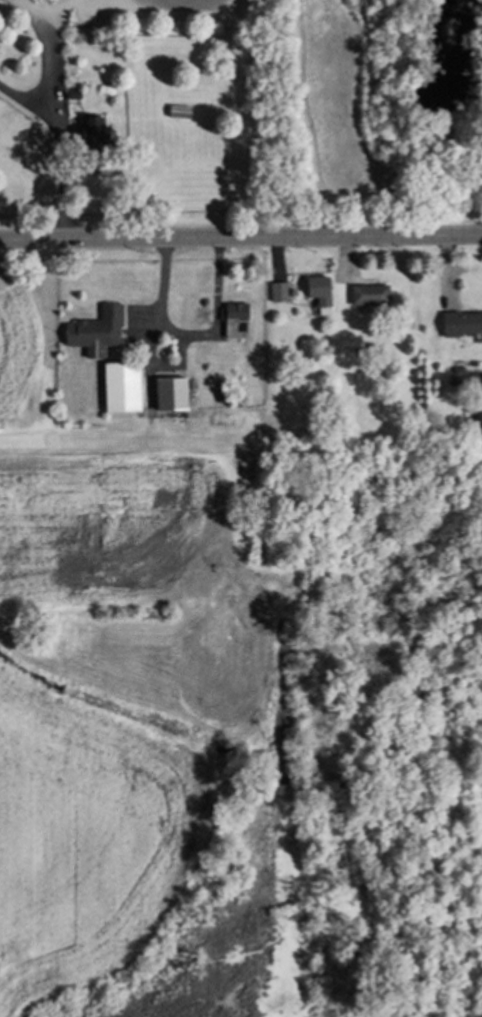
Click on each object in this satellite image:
road: (1, 41)
building: (73, 95)
building: (177, 111)
road: (56, 135)
building: (91, 140)
road: (240, 241)
building: (278, 289)
building: (318, 289)
building: (369, 296)
building: (235, 322)
building: (460, 323)
building: (95, 328)
building: (121, 385)
building: (167, 397)

